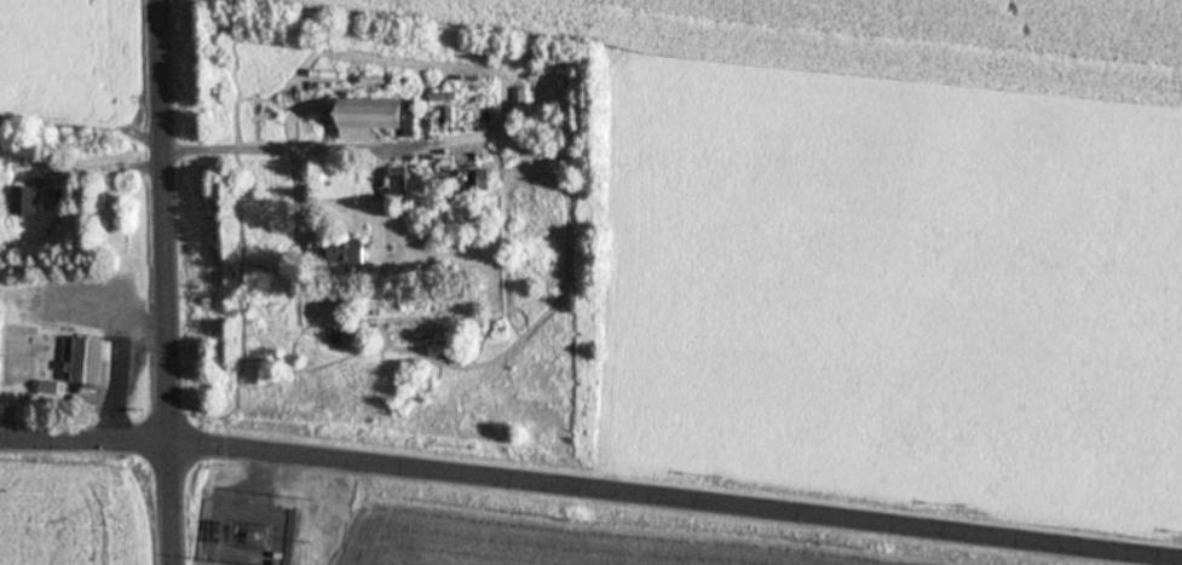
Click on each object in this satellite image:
building: (380, 115)
building: (54, 166)
building: (467, 180)
building: (403, 181)
building: (31, 200)
building: (346, 253)
road: (169, 282)
building: (93, 363)
road: (86, 428)
road: (676, 488)
power substation: (259, 518)

